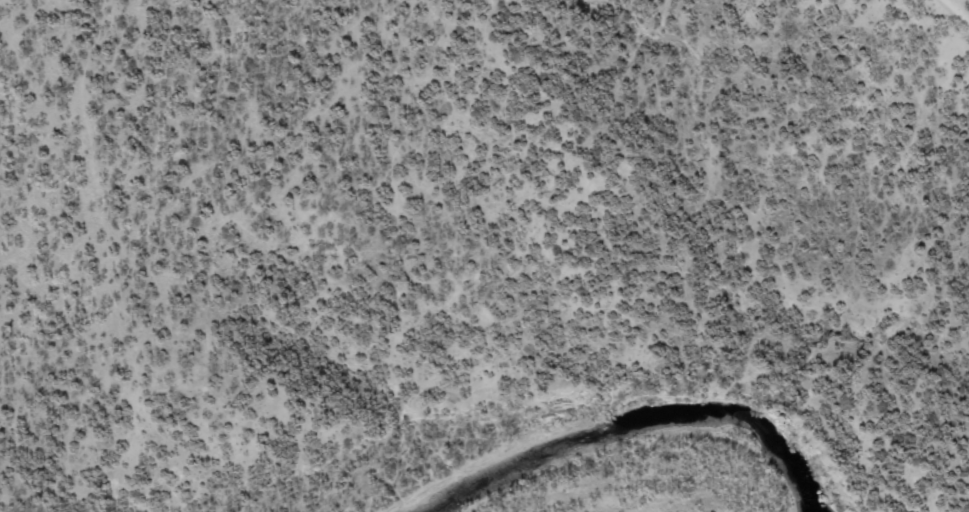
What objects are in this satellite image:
river: (639, 417)

